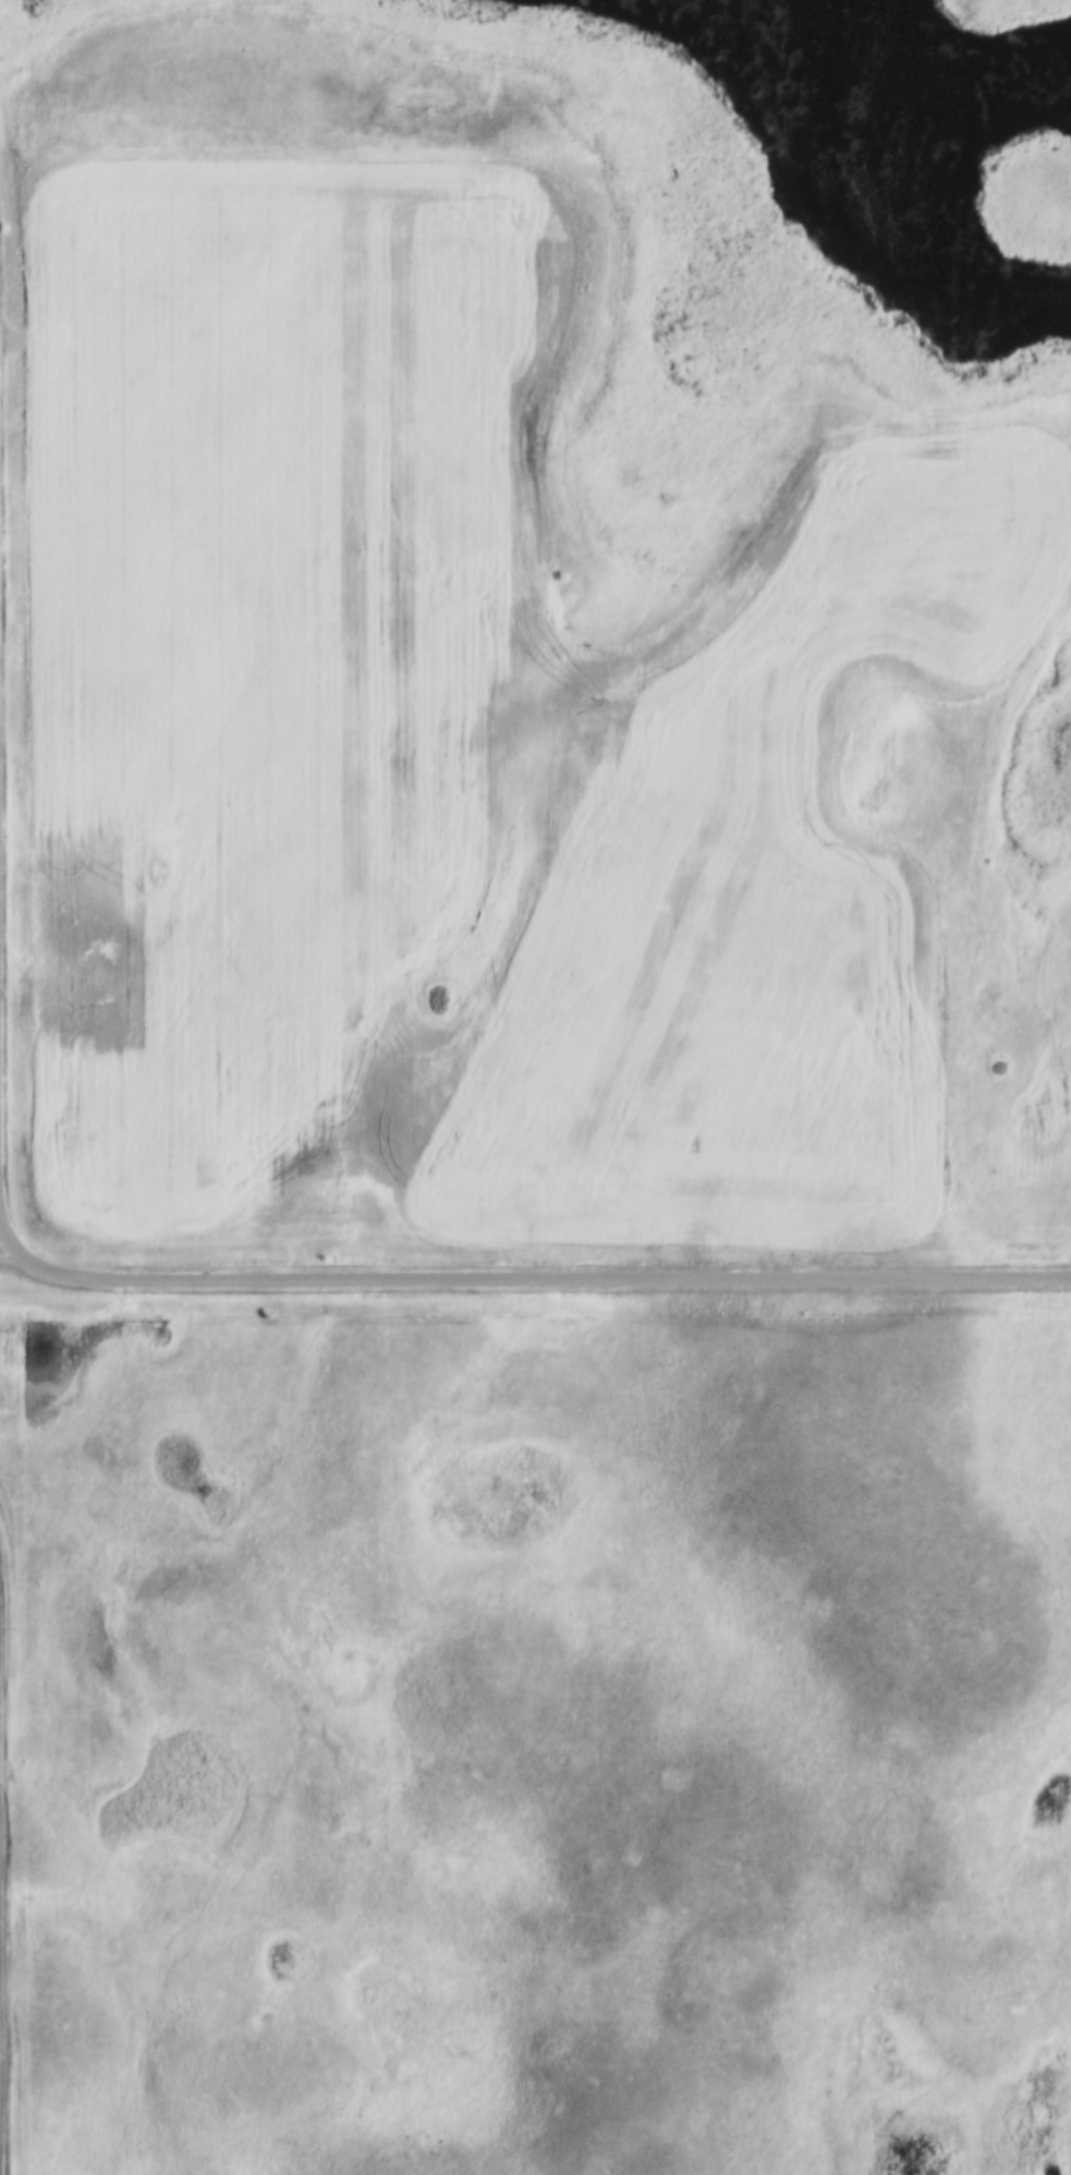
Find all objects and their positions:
road: (15, 1237)
road: (15, 1257)
road: (549, 1276)
road: (4, 1886)

